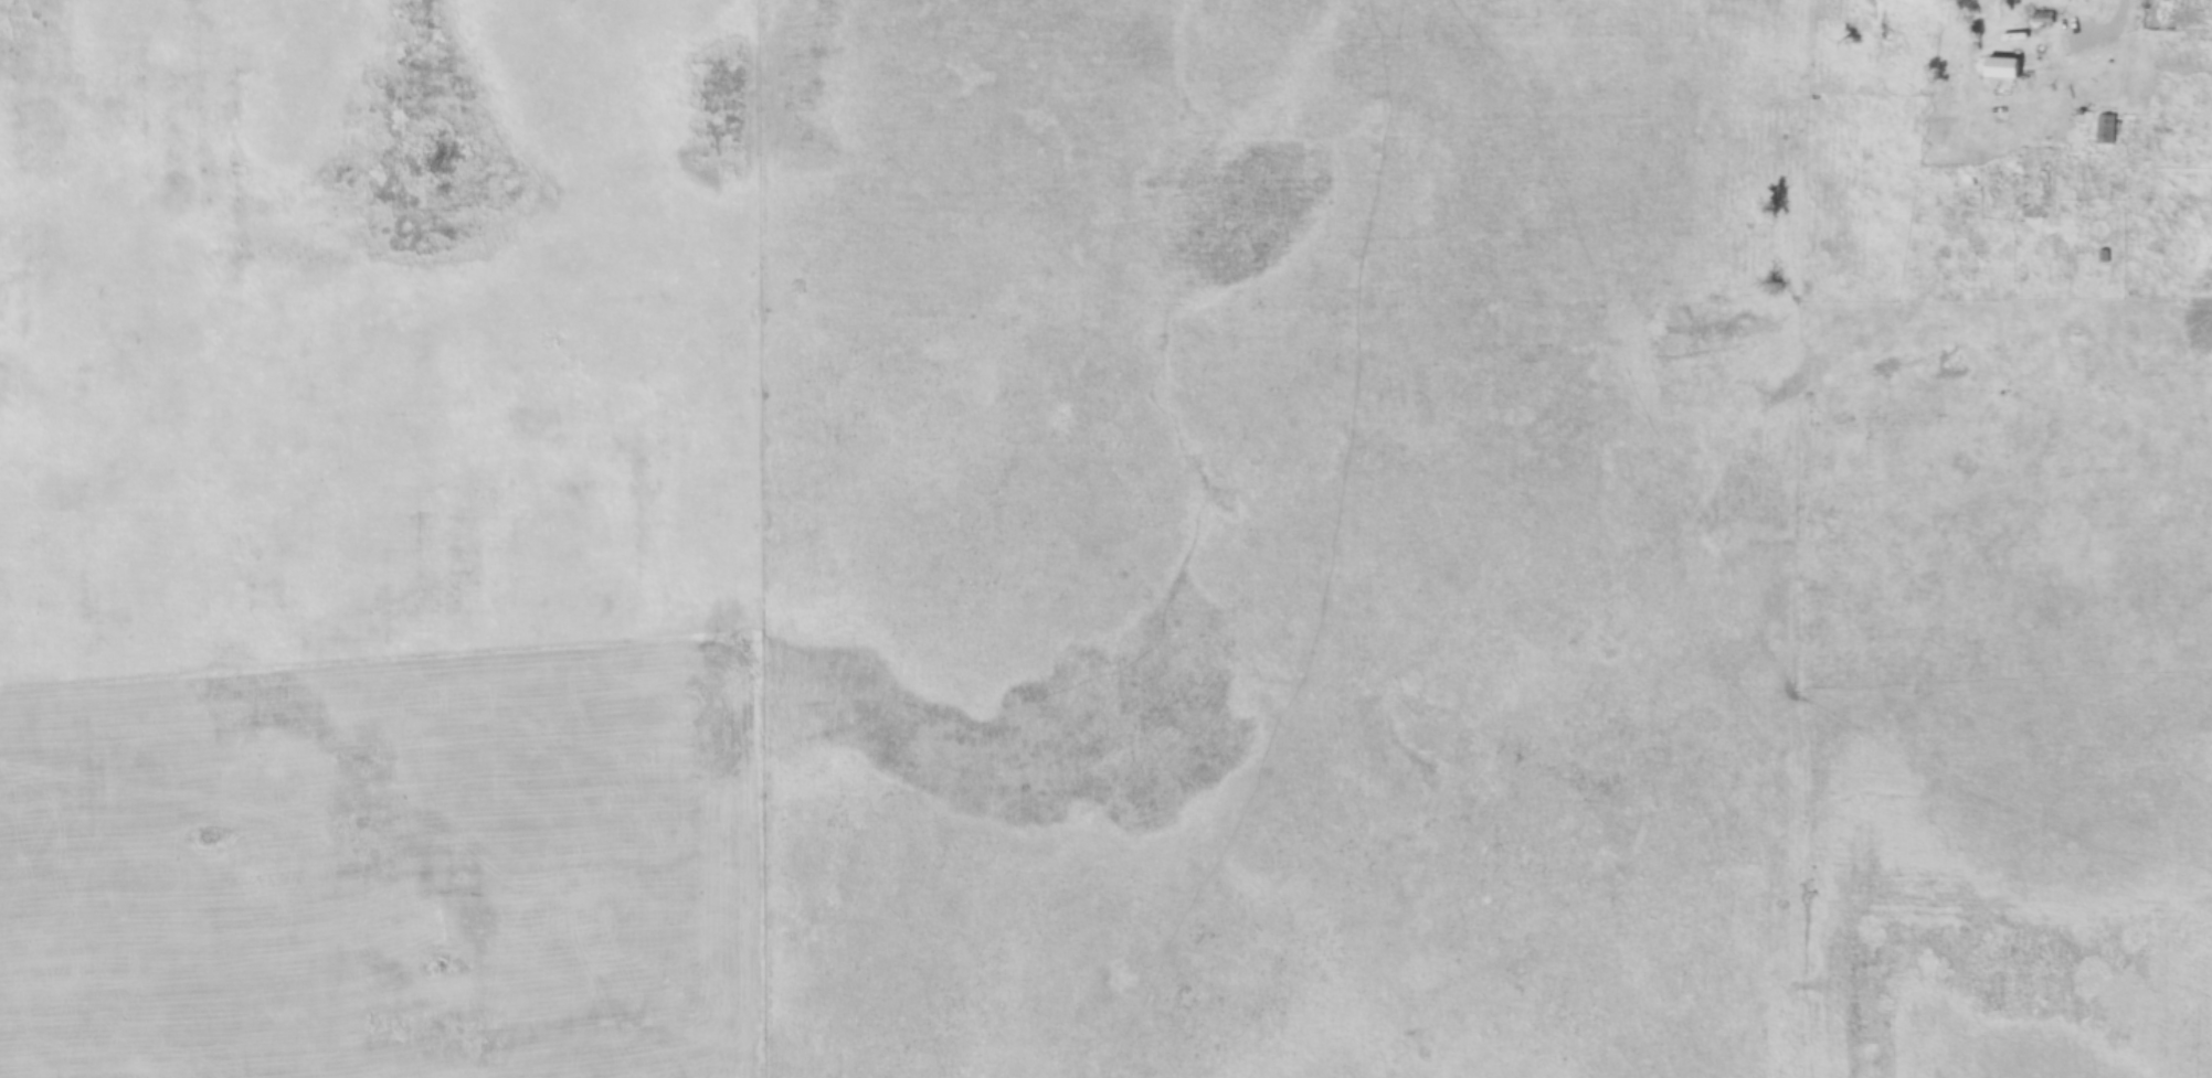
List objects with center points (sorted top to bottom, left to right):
building: (2043, 18)
road: (2110, 29)
building: (2003, 66)
building: (2106, 129)
building: (1970, 177)
building: (2040, 186)

